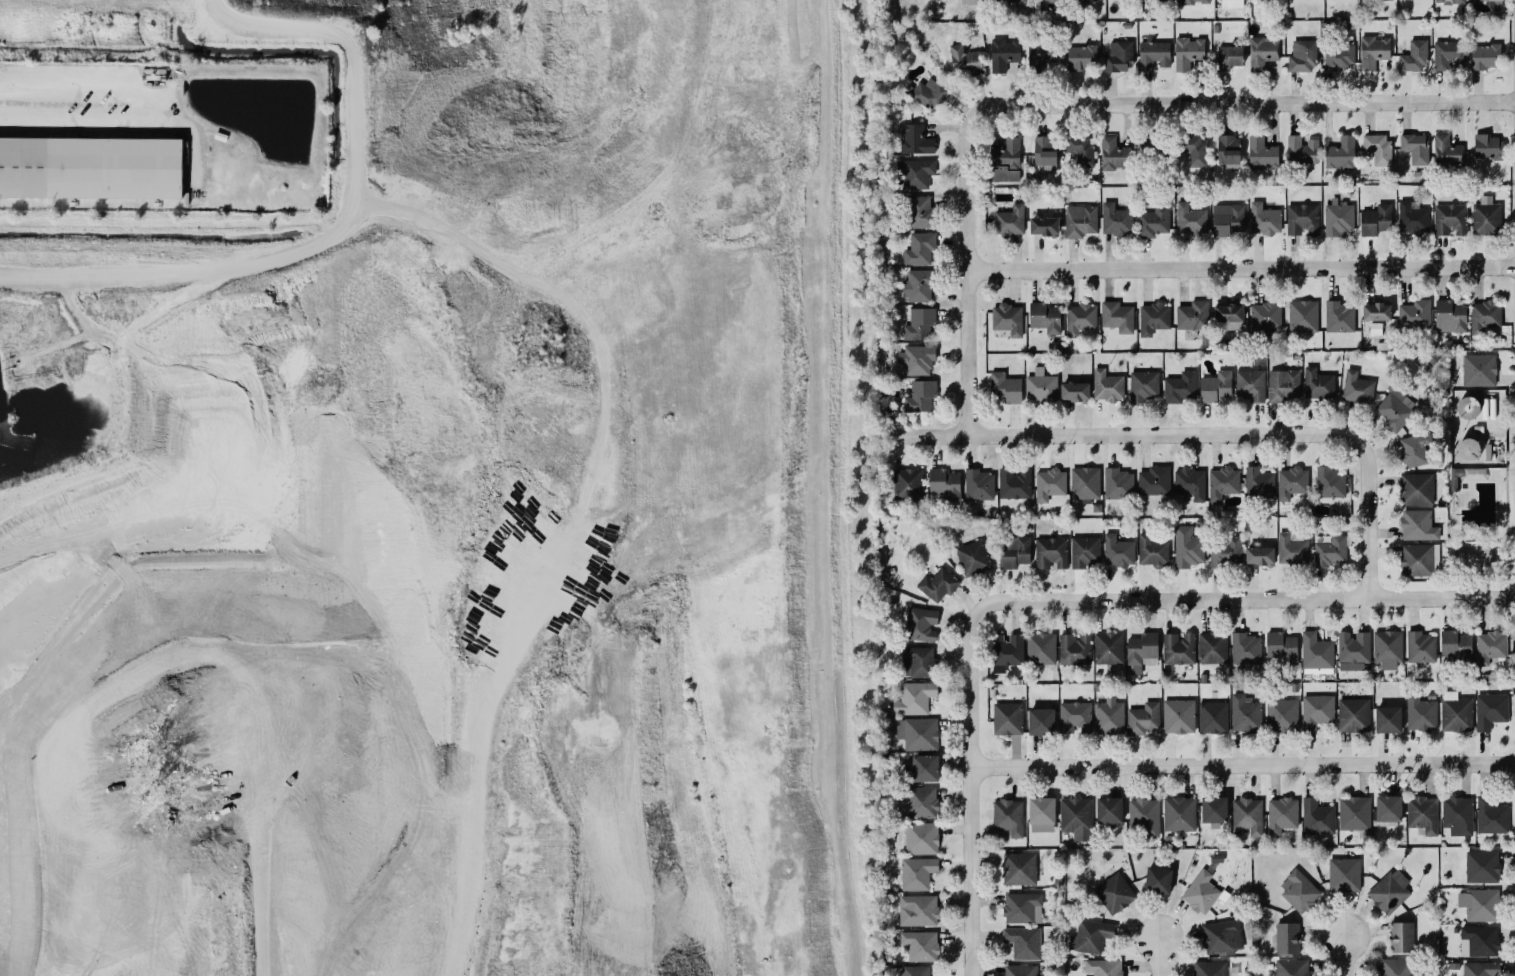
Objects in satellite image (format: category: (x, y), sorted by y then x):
building: (1195, 1)
building: (1449, 1)
building: (1015, 2)
building: (1232, 3)
building: (1078, 4)
building: (1050, 5)
building: (1263, 51)
building: (1373, 51)
building: (1043, 52)
building: (1188, 53)
building: (1154, 55)
building: (1448, 55)
building: (1006, 56)
building: (1118, 56)
building: (1230, 56)
building: (1302, 56)
building: (1414, 56)
building: (1484, 56)
building: (1081, 57)
building: (1338, 57)
building: (966, 60)
building: (930, 91)
road: (1241, 102)
road: (158, 110)
building: (916, 140)
building: (1378, 147)
building: (1415, 147)
building: (1489, 147)
building: (1080, 149)
building: (1159, 149)
building: (1045, 150)
building: (1302, 150)
building: (1195, 151)
building: (1447, 151)
building: (1113, 154)
building: (1262, 154)
building: (1341, 154)
building: (1006, 161)
building: (91, 167)
building: (915, 172)
building: (920, 211)
building: (1413, 217)
building: (1486, 217)
building: (1338, 218)
building: (1190, 219)
building: (1227, 219)
building: (1264, 219)
building: (1450, 219)
building: (1116, 220)
building: (1303, 220)
building: (1376, 220)
building: (1010, 221)
building: (1080, 221)
building: (1153, 221)
building: (1044, 226)
road: (336, 228)
building: (920, 249)
road: (1241, 265)
road: (968, 275)
building: (917, 285)
building: (1377, 311)
building: (1415, 314)
building: (1192, 315)
building: (1117, 316)
building: (1229, 316)
building: (1266, 316)
building: (1303, 316)
building: (1450, 316)
building: (1484, 316)
building: (1045, 317)
building: (1339, 317)
building: (1008, 318)
building: (1080, 318)
building: (1154, 318)
building: (920, 324)
road: (1514, 355)
building: (917, 359)
building: (1479, 370)
building: (1251, 383)
building: (1318, 384)
building: (1283, 385)
building: (1040, 386)
building: (1107, 386)
building: (1144, 386)
building: (1217, 386)
building: (1181, 387)
building: (1005, 388)
building: (1357, 388)
building: (1075, 392)
building: (920, 396)
building: (1468, 407)
building: (1395, 409)
road: (1499, 428)
road: (1135, 432)
building: (1414, 449)
building: (1469, 449)
road: (1500, 468)
building: (1473, 472)
building: (1453, 476)
building: (1154, 481)
building: (1223, 482)
building: (1259, 482)
building: (1291, 482)
building: (1331, 482)
building: (1015, 483)
building: (1085, 483)
building: (1190, 483)
building: (908, 484)
building: (945, 484)
building: (1050, 484)
building: (1118, 484)
building: (979, 485)
building: (1415, 488)
road: (1506, 488)
landfill: (459, 515)
road: (1369, 522)
building: (1416, 524)
park: (1480, 527)
road: (1480, 542)
building: (1187, 547)
building: (1292, 548)
building: (1014, 551)
building: (1085, 551)
building: (1118, 551)
building: (1152, 551)
building: (1227, 551)
building: (1331, 551)
building: (1051, 553)
building: (1260, 555)
building: (973, 558)
building: (1418, 559)
building: (938, 584)
road: (1252, 598)
building: (921, 624)
road: (97, 627)
building: (1421, 646)
building: (1456, 646)
building: (1282, 647)
building: (1353, 647)
building: (1490, 647)
building: (1041, 648)
building: (1108, 648)
building: (1179, 648)
building: (1213, 648)
building: (1387, 648)
building: (1075, 649)
building: (1245, 649)
building: (1006, 651)
building: (1142, 651)
building: (1316, 652)
building: (917, 661)
building: (915, 698)
building: (1490, 710)
building: (1316, 711)
building: (1456, 712)
building: (1421, 713)
building: (1245, 714)
building: (1109, 715)
building: (1282, 715)
building: (1353, 715)
building: (1178, 716)
building: (1075, 717)
building: (1213, 717)
building: (1008, 718)
building: (1143, 718)
building: (1388, 719)
building: (1041, 721)
building: (917, 733)
road: (1242, 763)
building: (922, 768)
road: (969, 784)
building: (917, 802)
building: (1214, 809)
building: (1042, 810)
building: (1109, 810)
building: (1389, 810)
building: (1354, 813)
building: (1179, 814)
building: (1423, 814)
building: (1282, 815)
building: (1458, 815)
building: (1144, 816)
building: (1247, 816)
building: (1491, 816)
building: (1008, 817)
building: (1076, 817)
building: (1317, 817)
building: (922, 838)
building: (1482, 866)
road: (284, 869)
building: (1019, 869)
building: (917, 873)
building: (1344, 875)
building: (1158, 880)
building: (1299, 890)
building: (1390, 891)
building: (1201, 892)
building: (1114, 893)
building: (1479, 904)
building: (1022, 907)
building: (917, 910)
building: (1090, 936)
building: (1222, 937)
building: (1402, 937)
building: (1287, 938)
building: (1479, 941)
building: (1023, 942)
building: (920, 945)
road: (1350, 956)
road: (1161, 957)
building: (1104, 967)
building: (1292, 967)
building: (1396, 967)
building: (1209, 968)
building: (1481, 969)
building: (1020, 970)
building: (910, 971)

